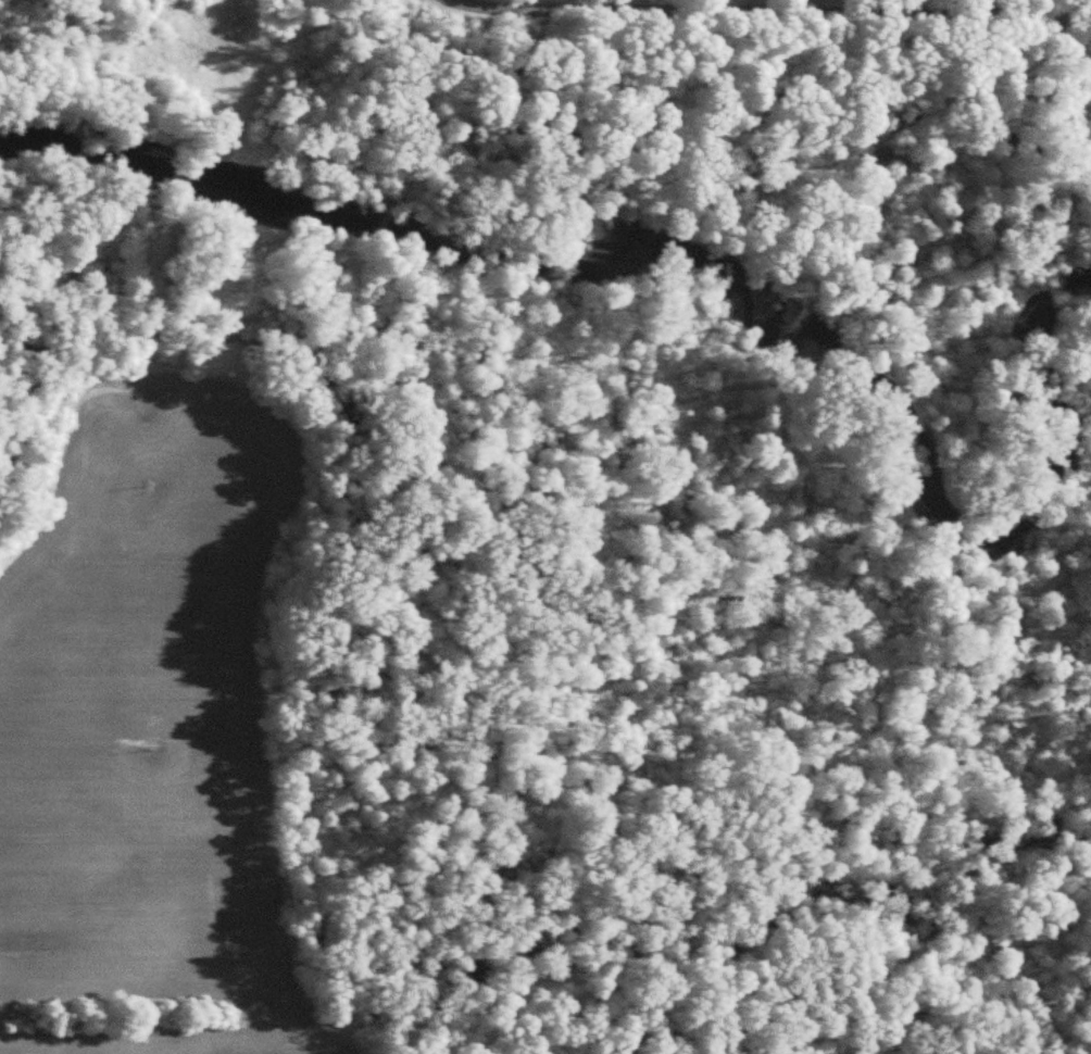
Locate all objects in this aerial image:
road: (476, 5)
road: (915, 7)
road: (799, 11)
river: (566, 199)

